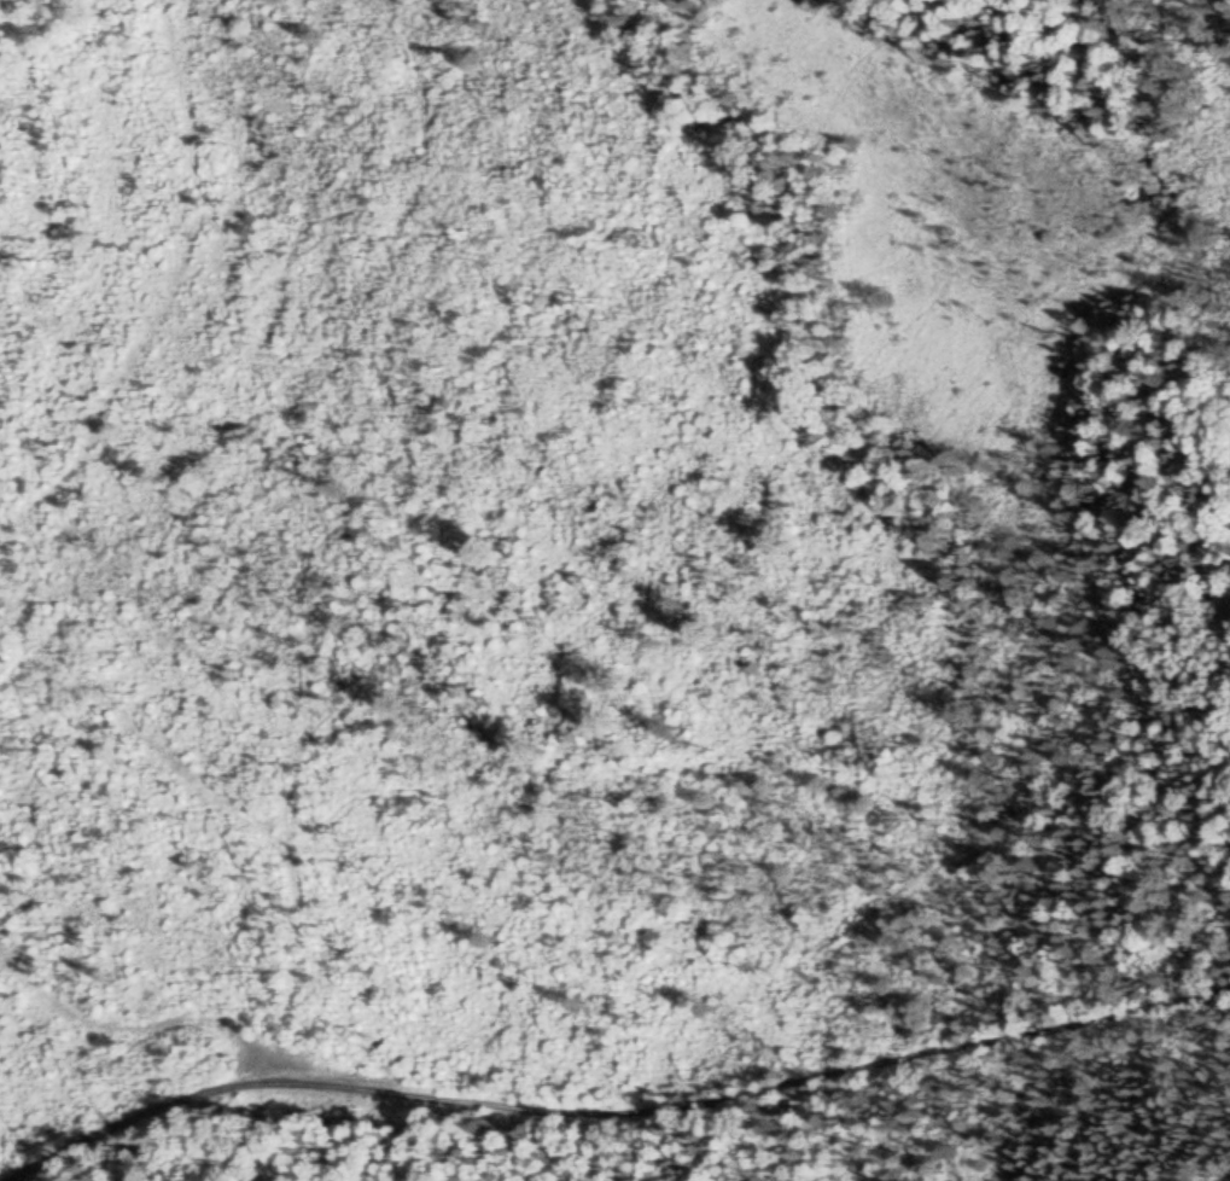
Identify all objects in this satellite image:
road: (618, 1116)

